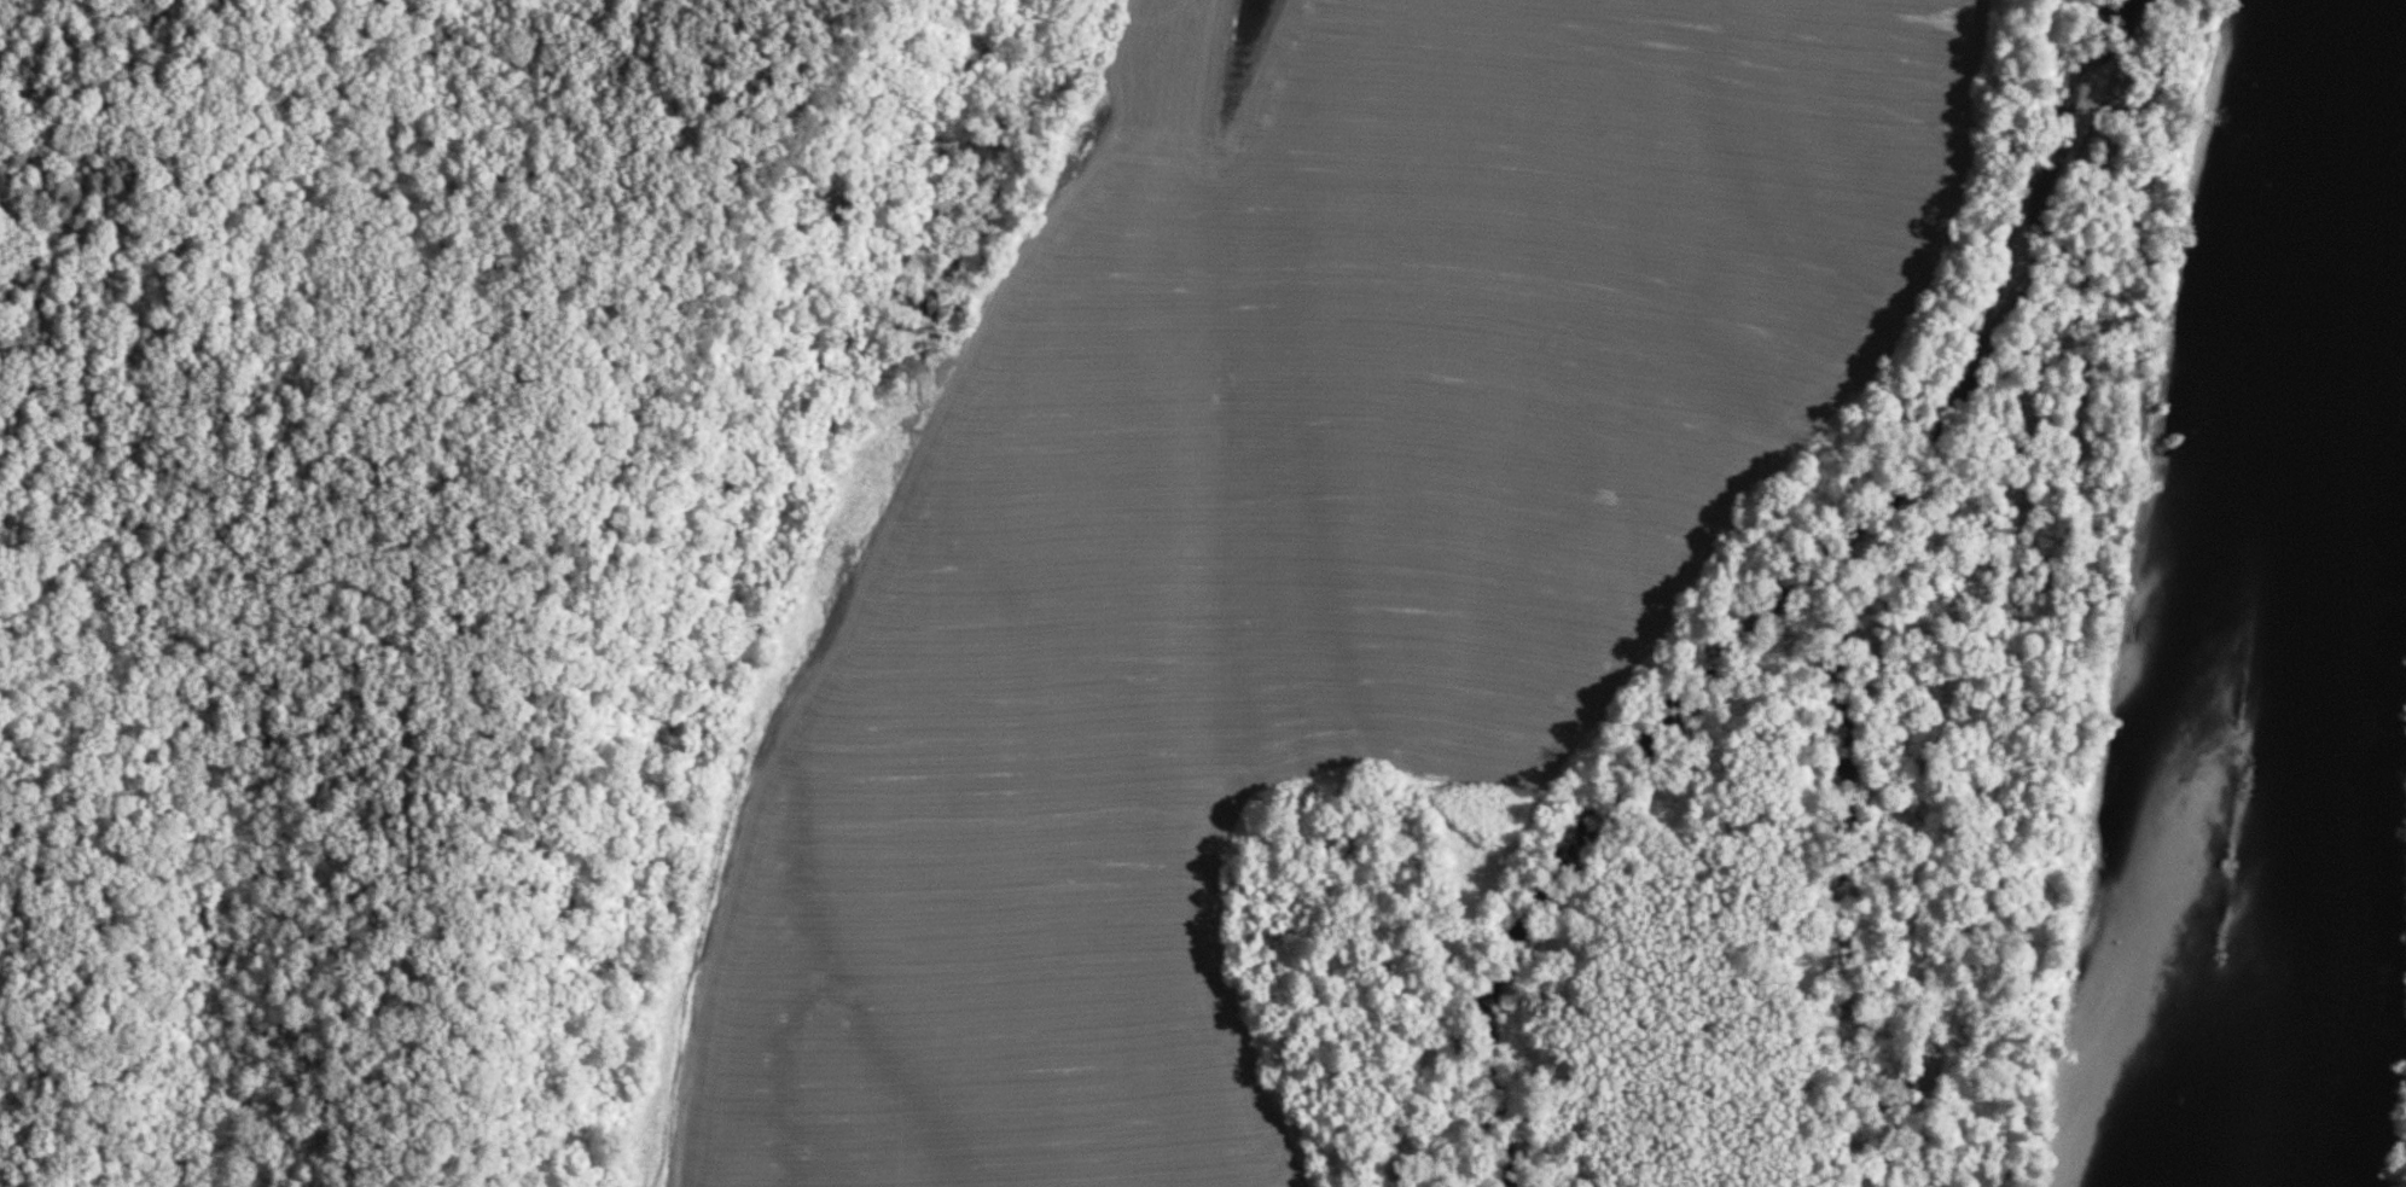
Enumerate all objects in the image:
river: (2346, 654)

